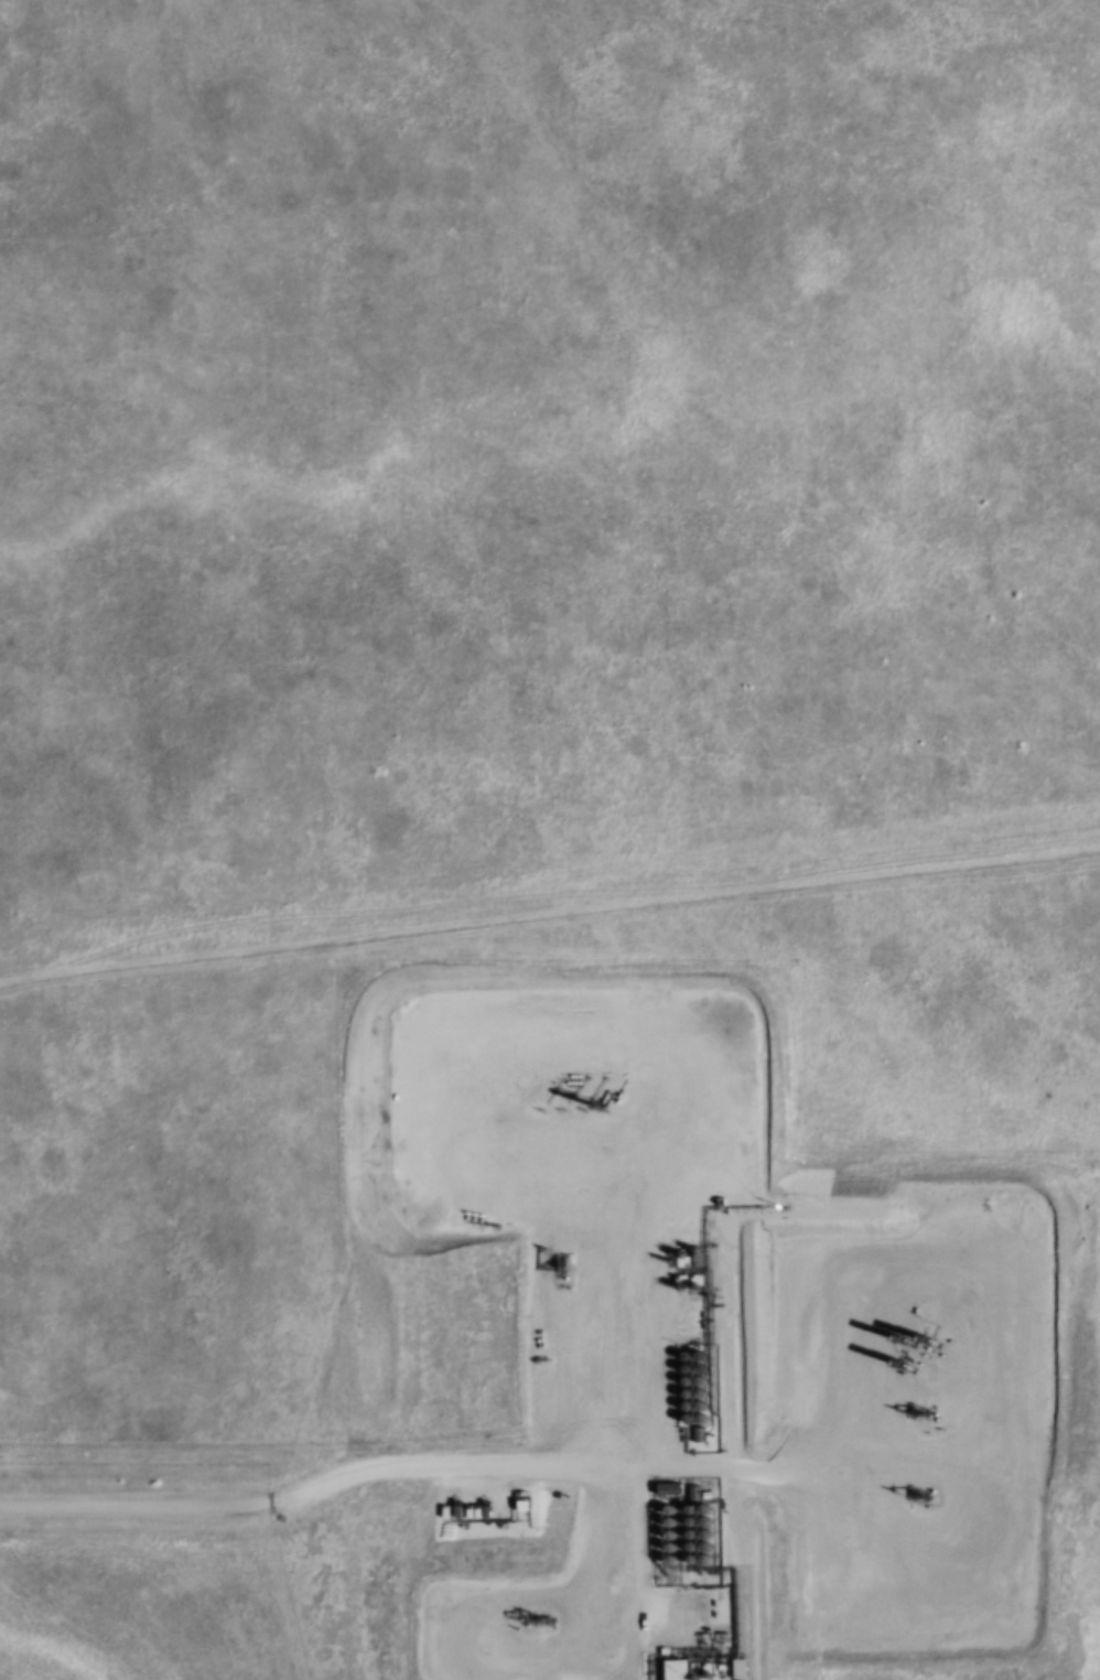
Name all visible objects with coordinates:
road: (184, 1500)

